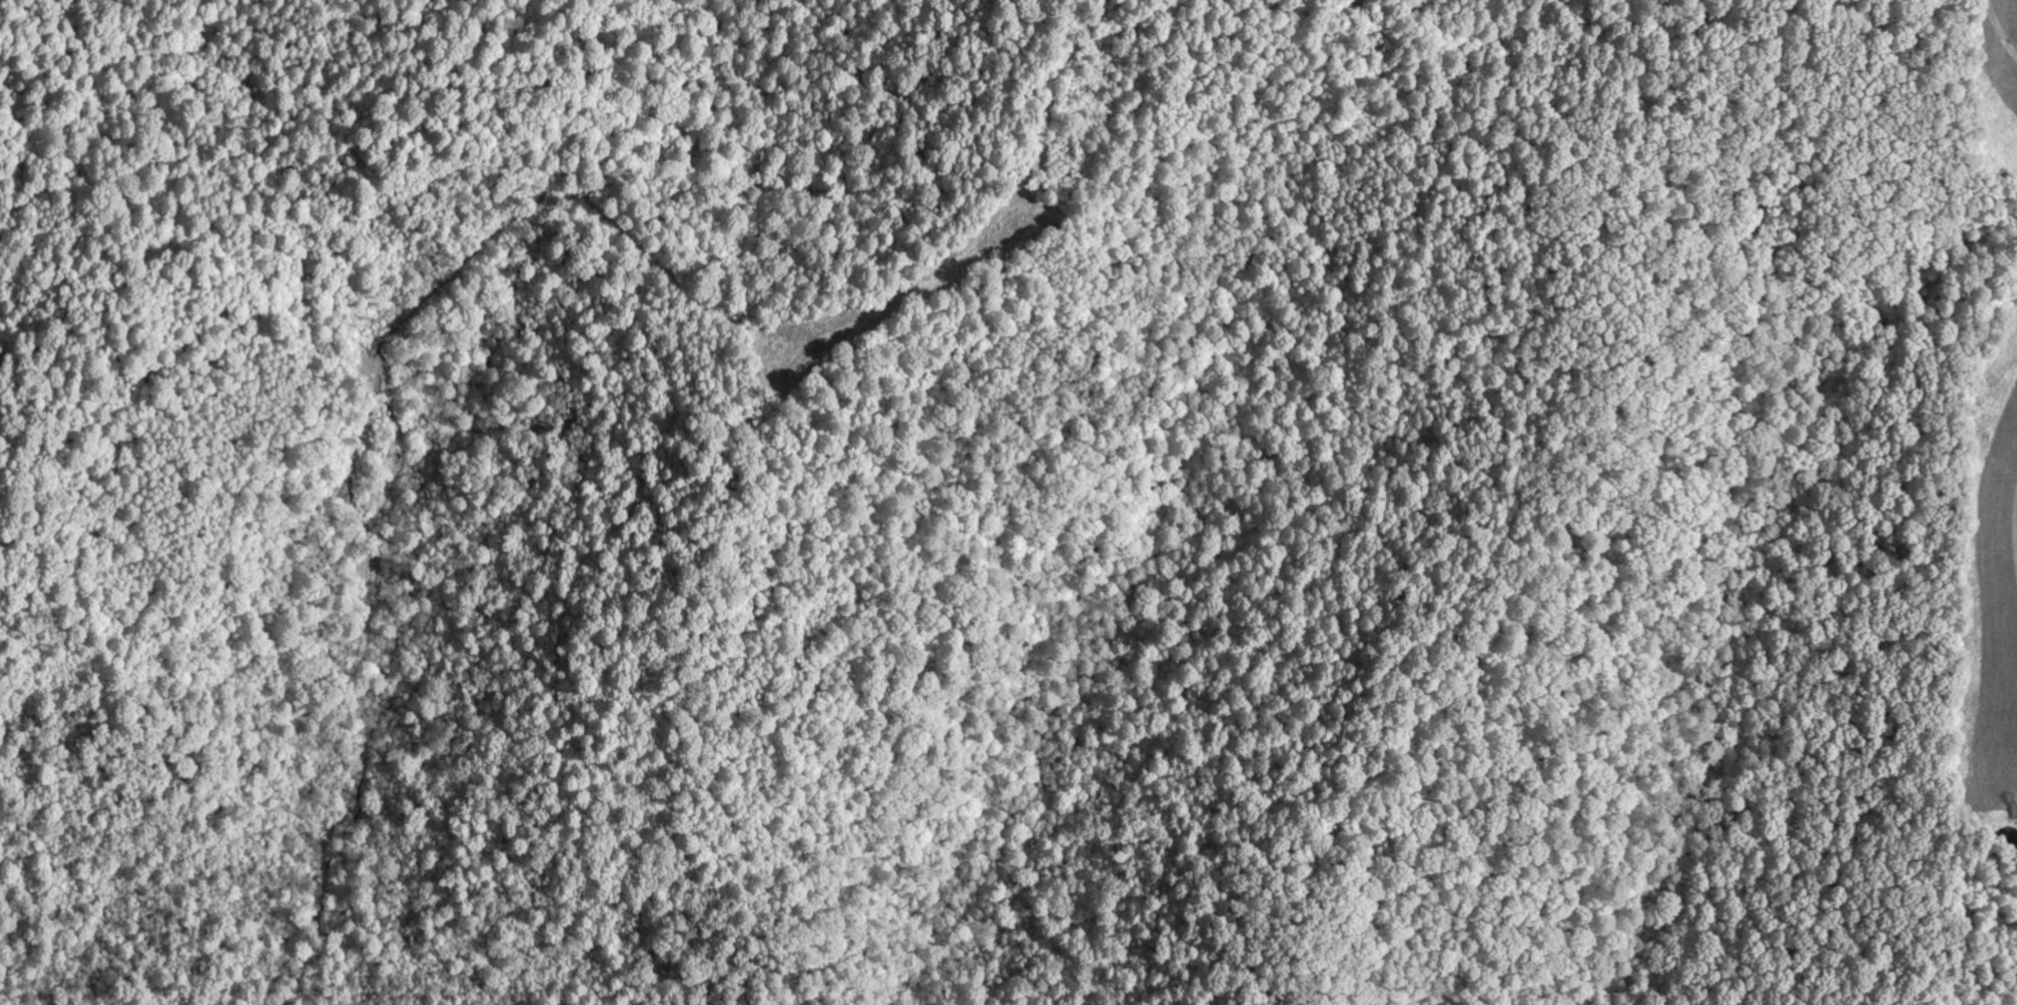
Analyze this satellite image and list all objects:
road: (2001, 29)
road: (2015, 513)

